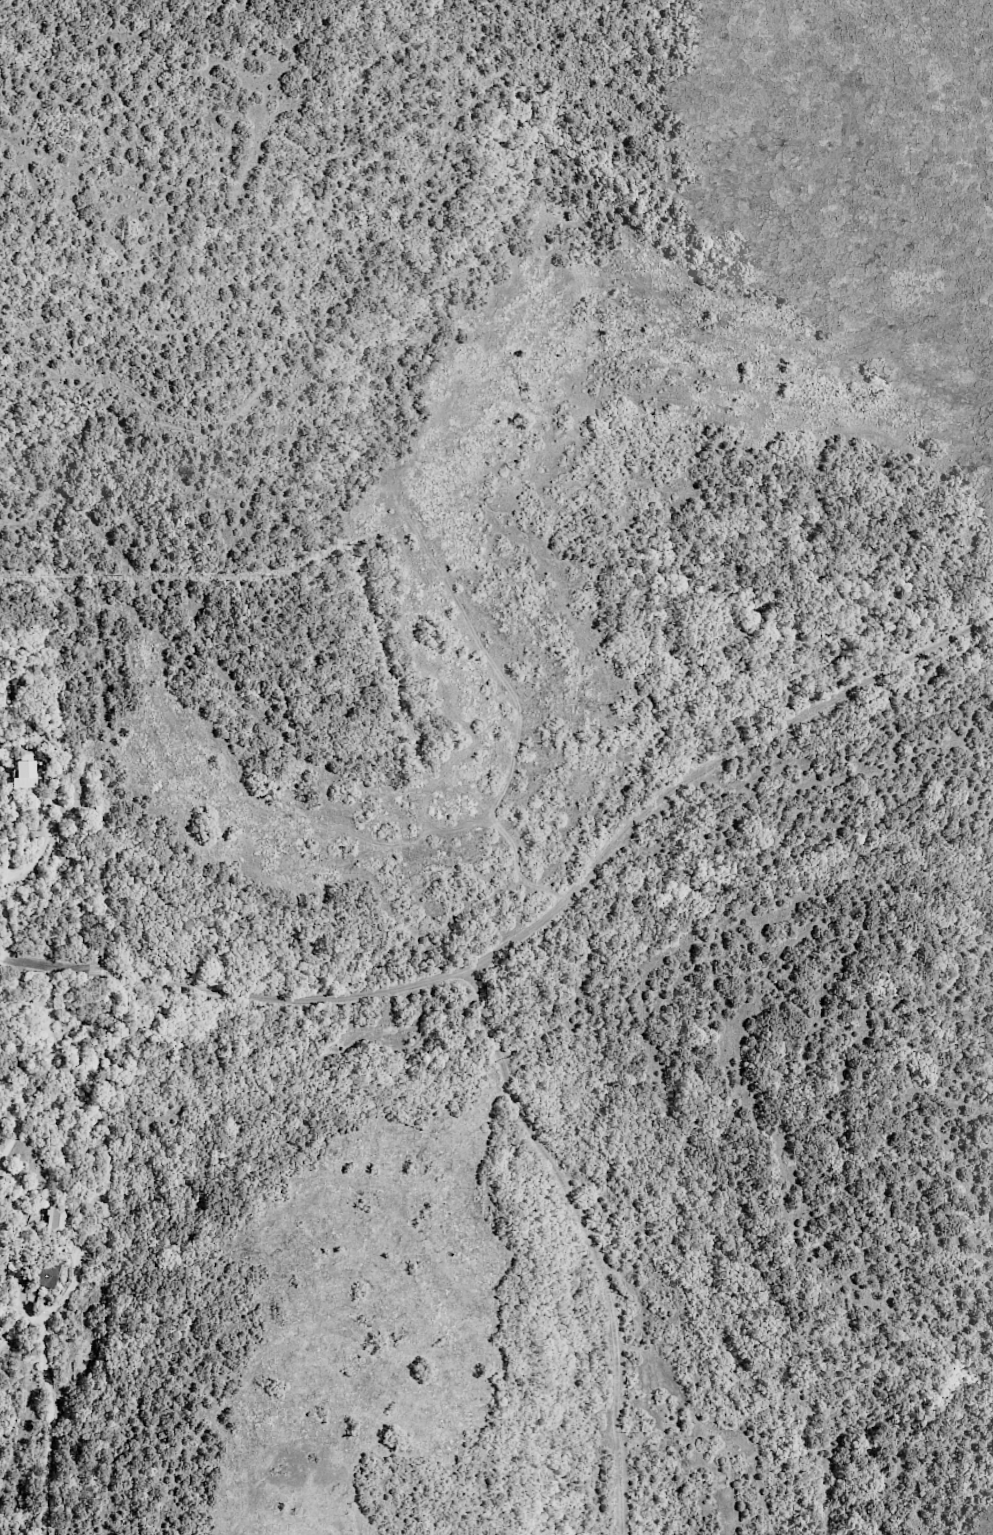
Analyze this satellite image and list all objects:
building: (23, 774)
road: (38, 806)
road: (3, 877)
road: (574, 893)
road: (6, 926)
road: (50, 965)
road: (46, 1067)
building: (53, 1221)
road: (592, 1239)
building: (46, 1272)
road: (50, 1405)

